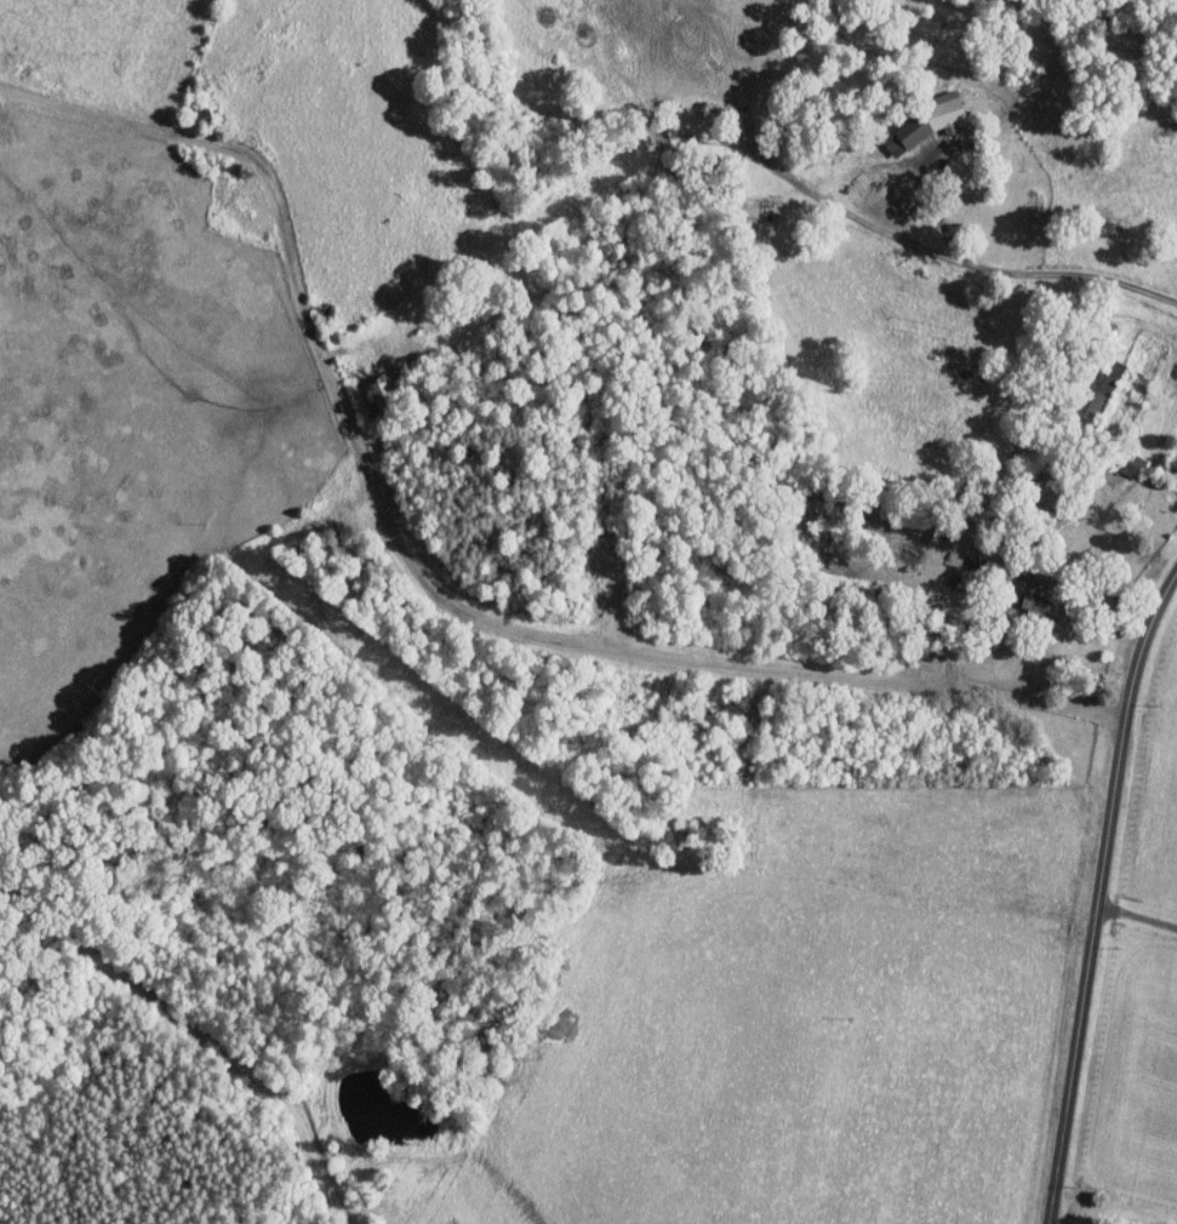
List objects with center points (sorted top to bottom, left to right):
building: (927, 121)
road: (956, 259)
building: (381, 390)
building: (1102, 395)
road: (424, 578)
building: (1041, 605)
road: (1099, 896)
road: (1137, 916)

